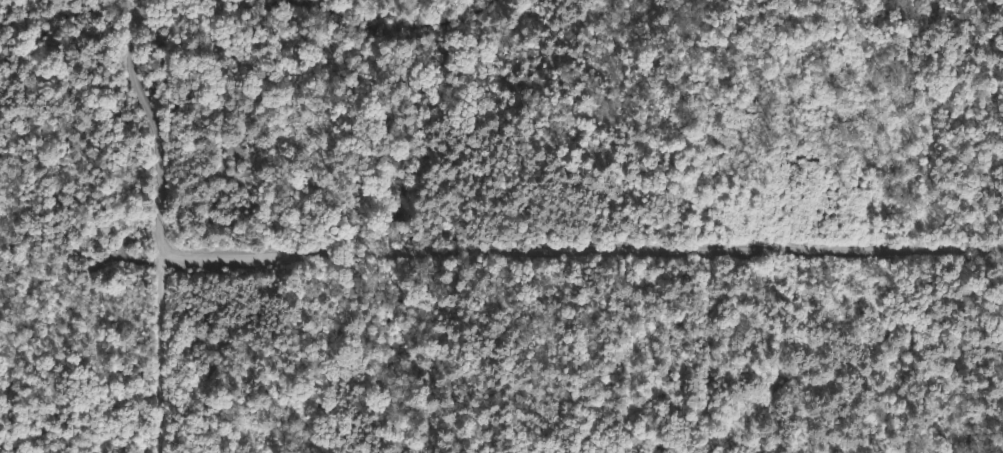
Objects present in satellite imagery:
road: (152, 121)
airport: (501, 226)
road: (581, 250)

